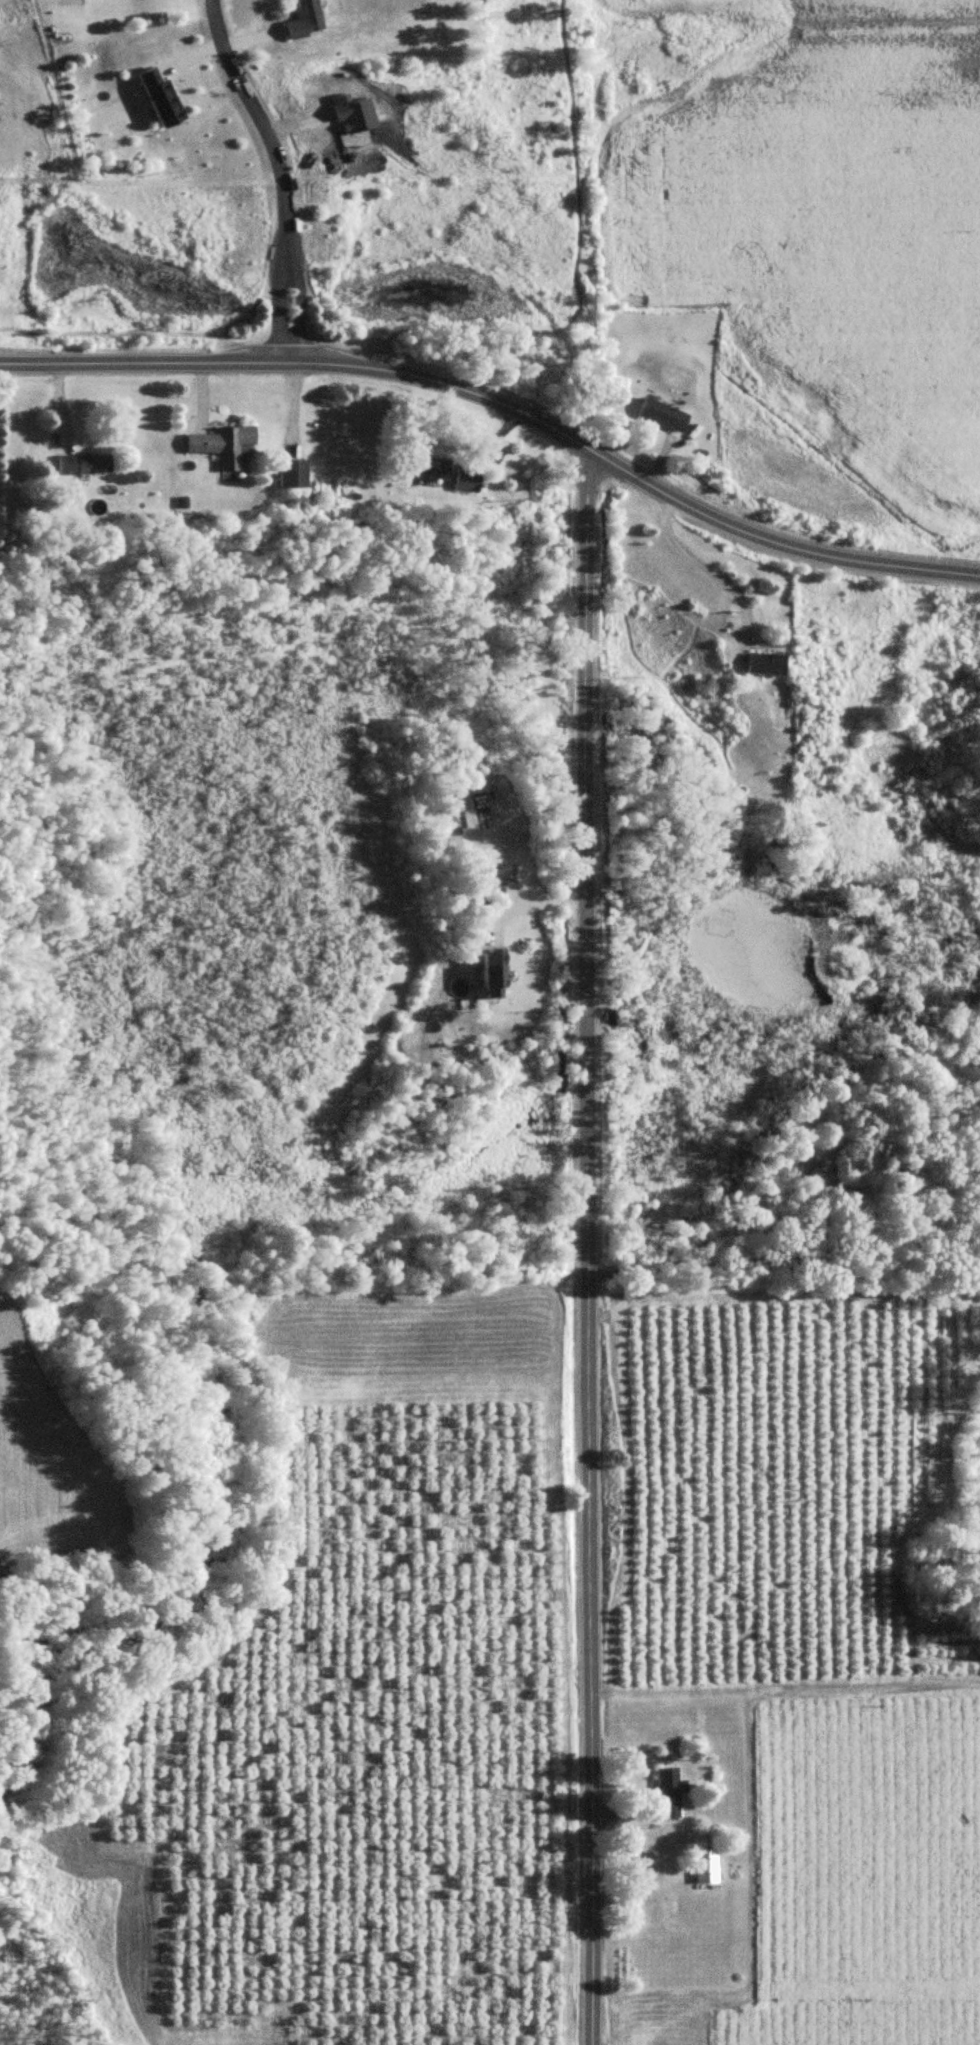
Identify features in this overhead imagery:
building: (305, 20)
building: (158, 97)
road: (279, 174)
road: (504, 407)
building: (663, 416)
building: (219, 445)
building: (81, 465)
building: (428, 468)
building: (289, 474)
building: (463, 481)
road: (697, 562)
road: (584, 577)
building: (764, 665)
road: (531, 901)
building: (492, 975)
building: (824, 1176)
road: (779, 1262)
road: (588, 1375)
building: (667, 1793)
building: (705, 1866)

